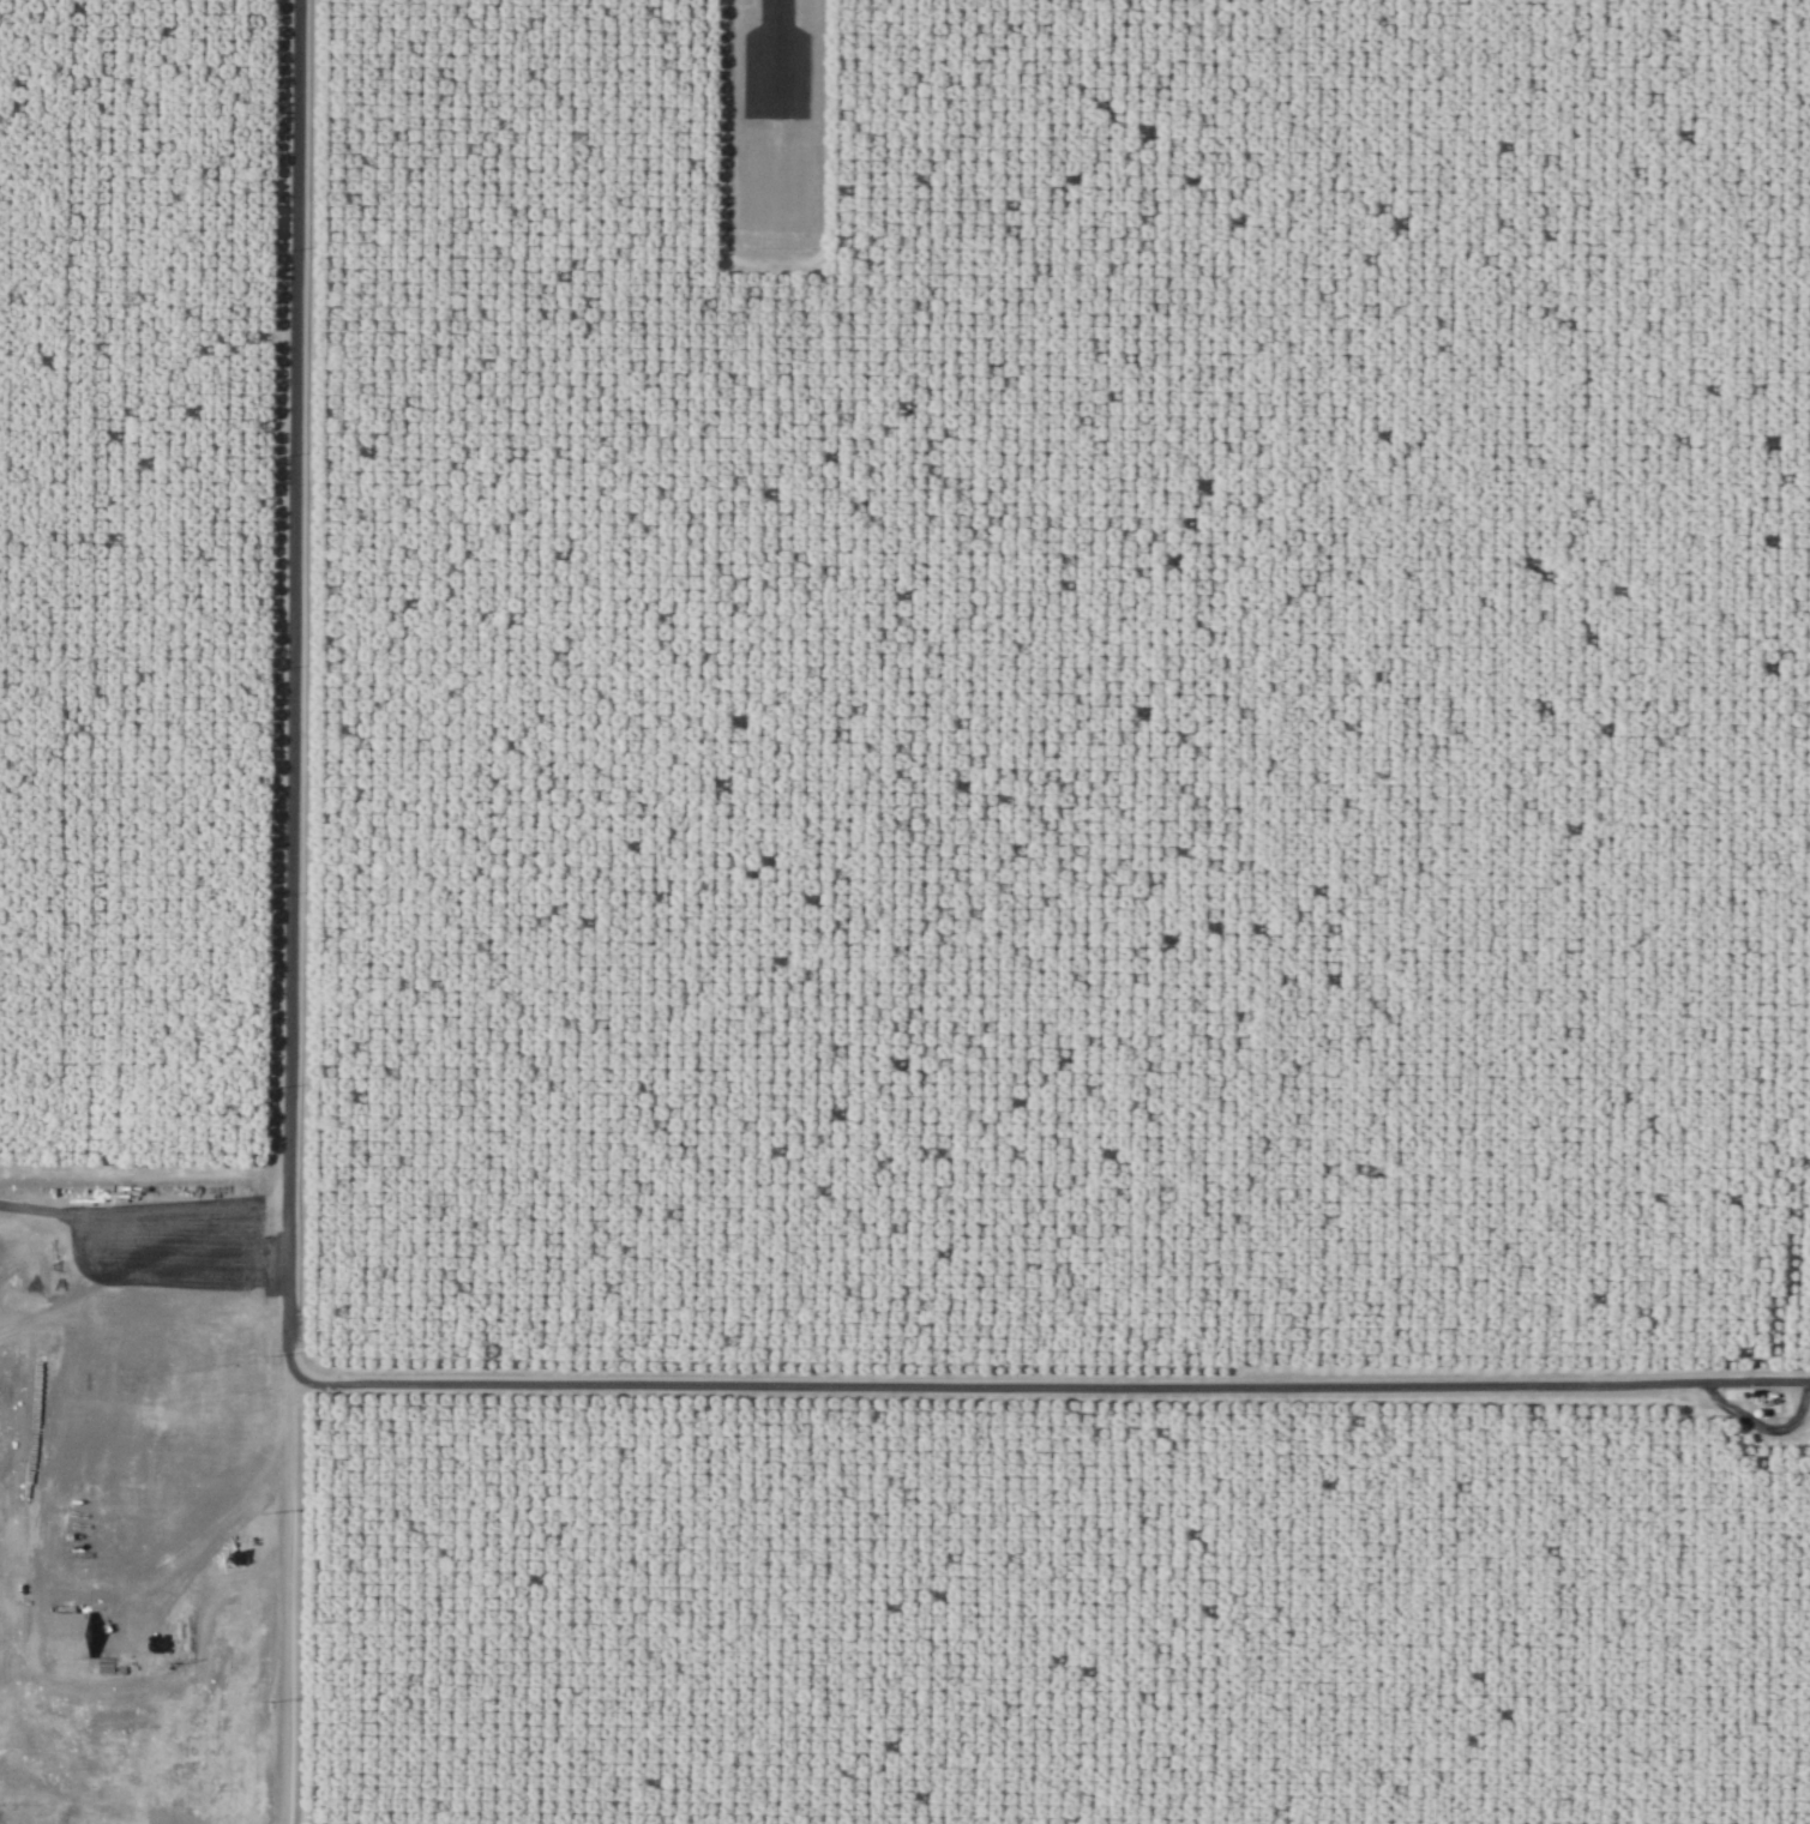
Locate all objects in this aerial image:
airport runway: (774, 42)
airport: (772, 122)
road: (820, 175)
road: (291, 584)
road: (143, 1176)
road: (157, 1248)
road: (152, 1265)
road: (954, 1381)
road: (287, 1585)

